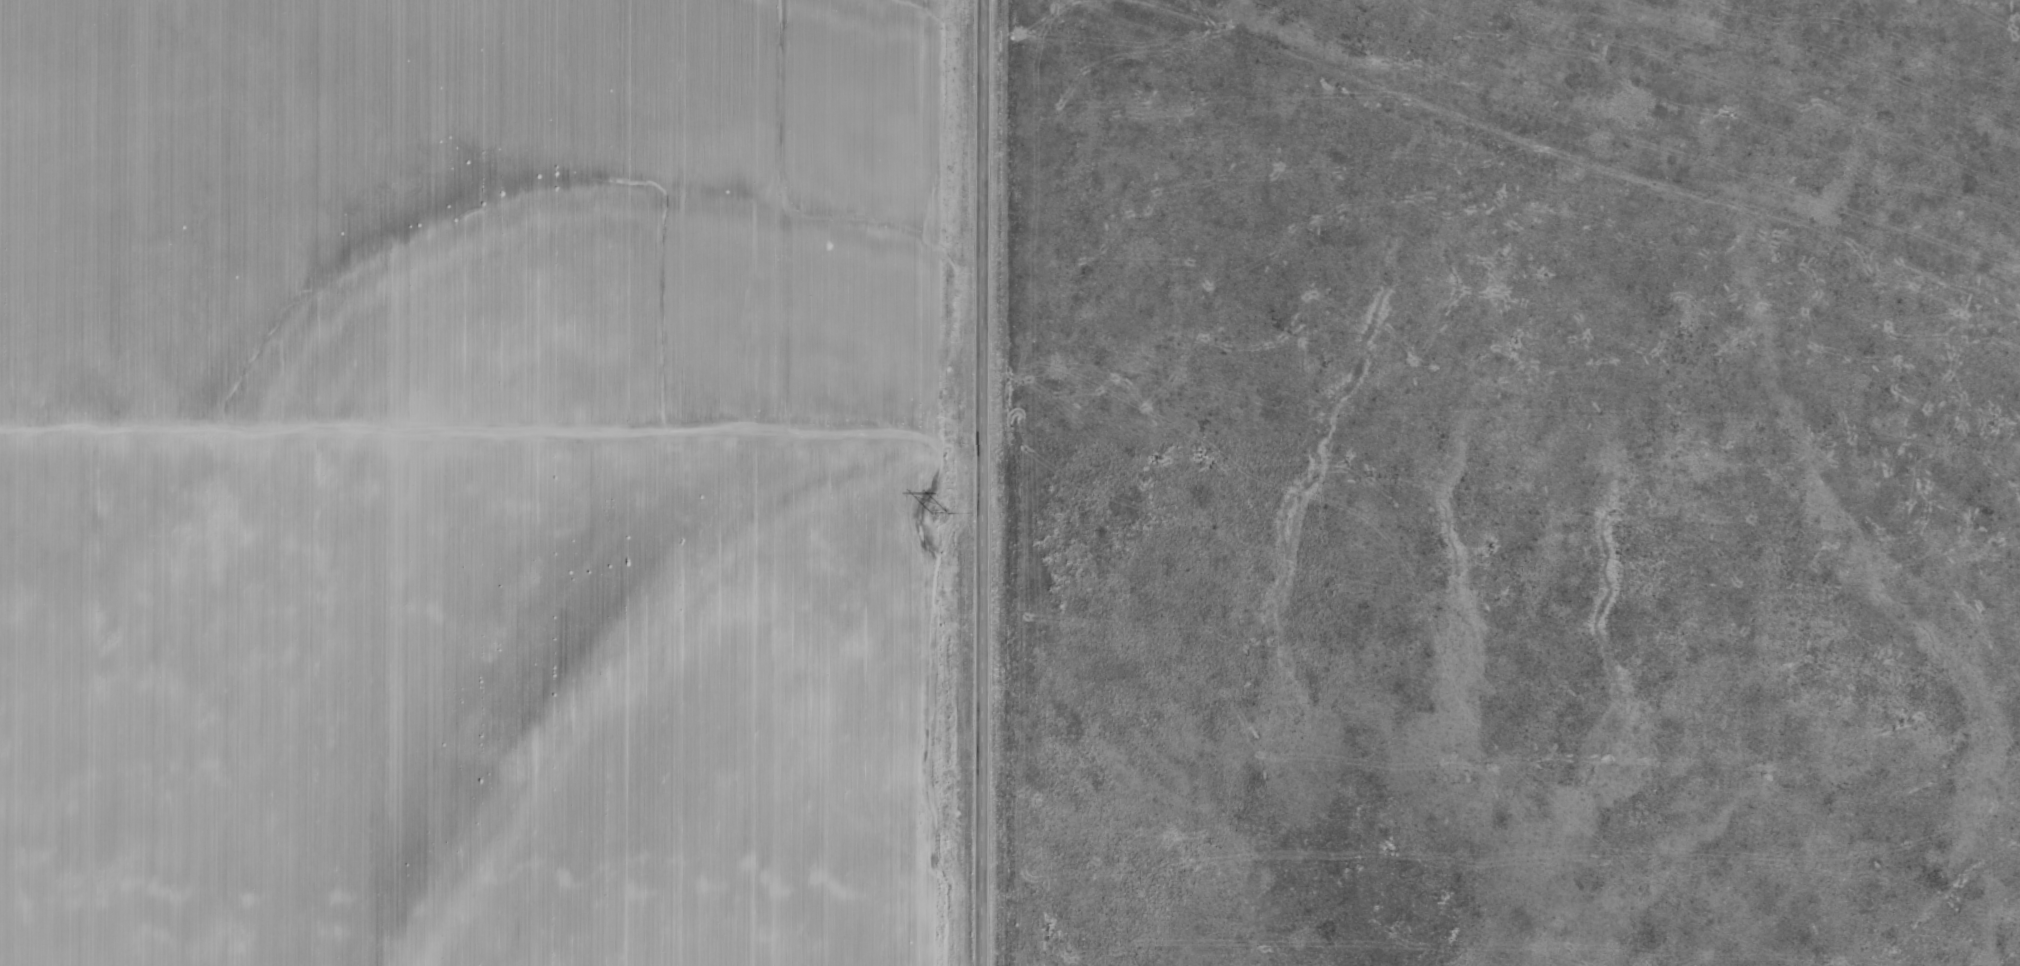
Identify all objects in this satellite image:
road: (982, 483)
power tower: (941, 512)

